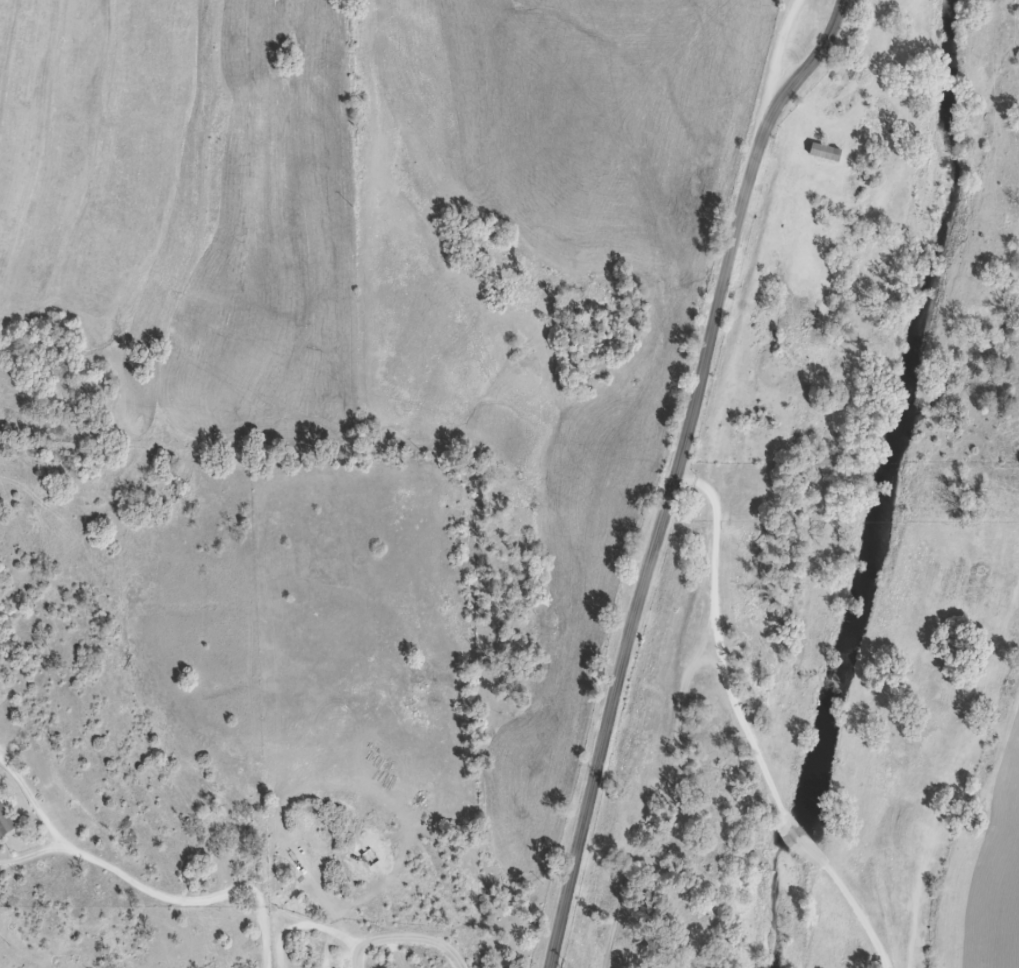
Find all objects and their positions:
building: (831, 151)
road: (675, 474)
railway: (389, 484)
road: (717, 640)
building: (7, 820)
road: (804, 841)
road: (143, 885)
road: (861, 913)
road: (407, 937)

